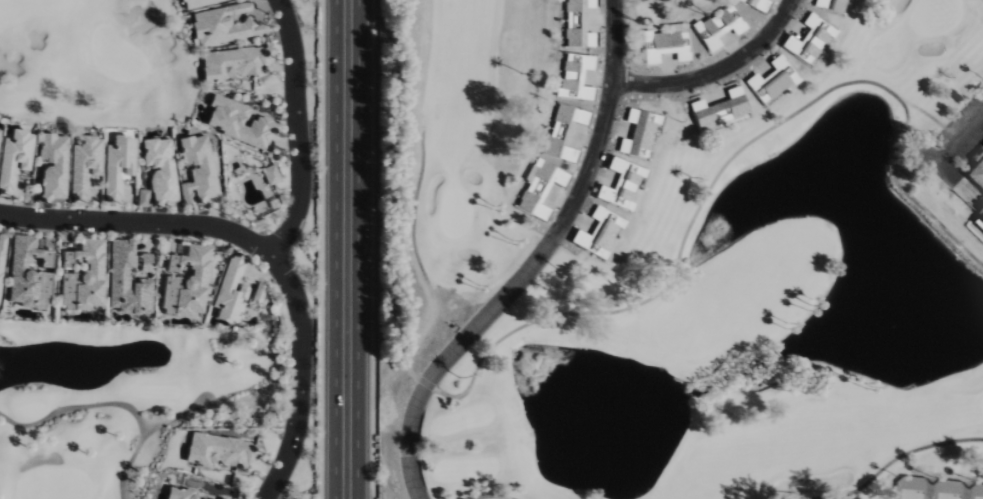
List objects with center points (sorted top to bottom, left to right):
building: (198, 3)
building: (755, 4)
building: (830, 5)
building: (577, 24)
building: (222, 26)
building: (719, 29)
building: (809, 40)
building: (665, 44)
park: (94, 61)
building: (233, 63)
road: (717, 71)
building: (576, 77)
building: (772, 81)
building: (719, 109)
building: (238, 124)
building: (638, 132)
building: (563, 133)
road: (951, 145)
building: (14, 159)
building: (84, 165)
building: (51, 166)
building: (117, 166)
building: (159, 169)
building: (196, 170)
building: (976, 174)
building: (270, 175)
park: (445, 180)
building: (623, 185)
building: (539, 189)
building: (141, 198)
building: (979, 218)
road: (141, 223)
building: (599, 234)
building: (1, 247)
road: (351, 249)
road: (280, 251)
building: (143, 263)
road: (535, 263)
building: (26, 275)
building: (81, 277)
building: (125, 281)
building: (185, 283)
building: (229, 292)
building: (256, 295)
park: (747, 310)
park: (102, 402)
building: (219, 450)
road: (896, 458)
building: (178, 493)
park: (911, 494)
road: (489, 495)
park: (947, 496)
building: (219, 498)
park: (978, 498)

